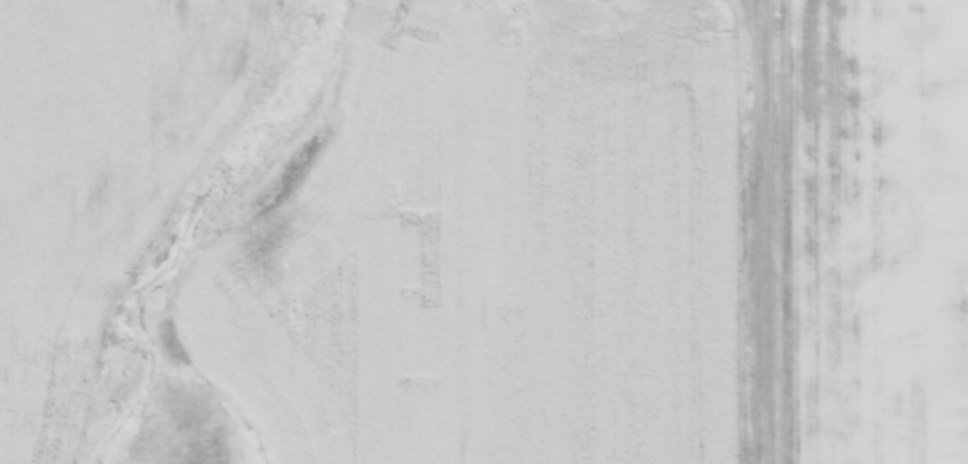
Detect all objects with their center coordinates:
road: (763, 231)

